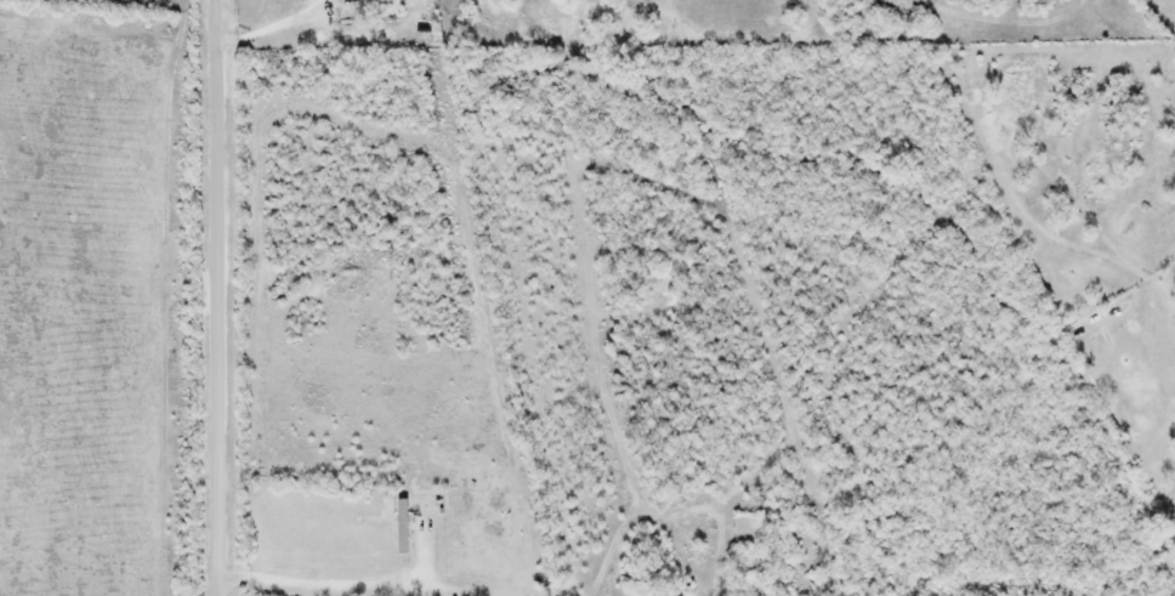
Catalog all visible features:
road: (193, 303)
power tower: (191, 411)
building: (398, 526)

